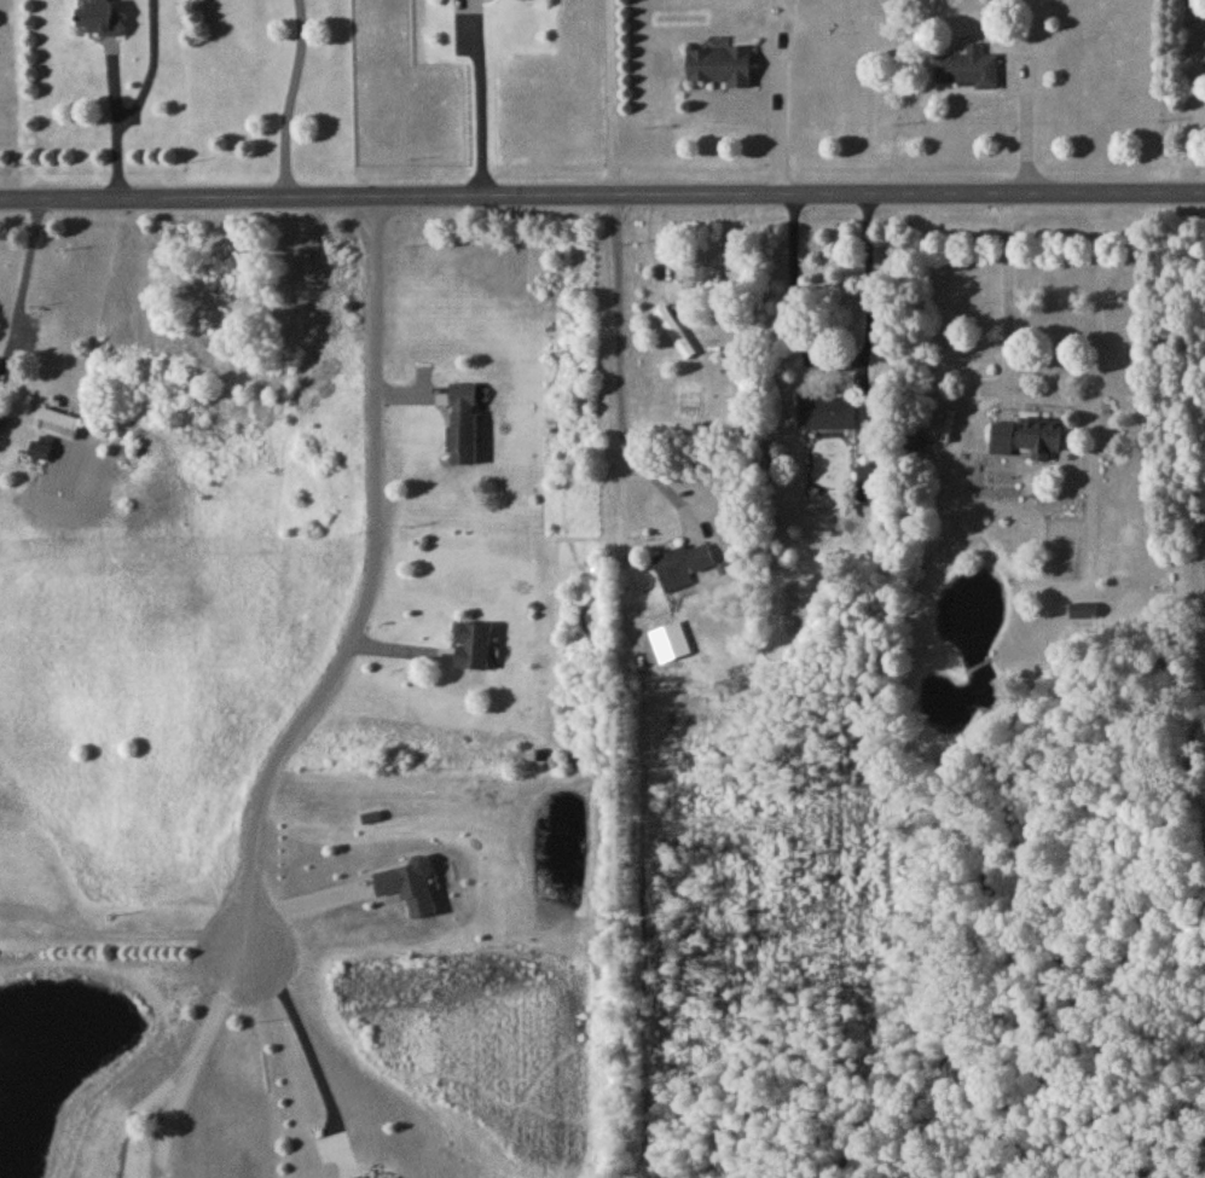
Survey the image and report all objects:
building: (99, 22)
building: (719, 70)
building: (968, 72)
road: (291, 93)
road: (612, 94)
road: (476, 100)
road: (116, 117)
road: (602, 190)
road: (27, 260)
building: (705, 279)
road: (1008, 301)
building: (676, 336)
road: (619, 364)
road: (836, 365)
building: (827, 417)
building: (58, 428)
building: (462, 429)
building: (1026, 441)
building: (41, 452)
building: (871, 488)
building: (683, 567)
road: (370, 584)
building: (1083, 614)
building: (474, 650)
road: (307, 889)
road: (131, 935)
road: (299, 1033)
road: (193, 1061)
road: (138, 1096)

